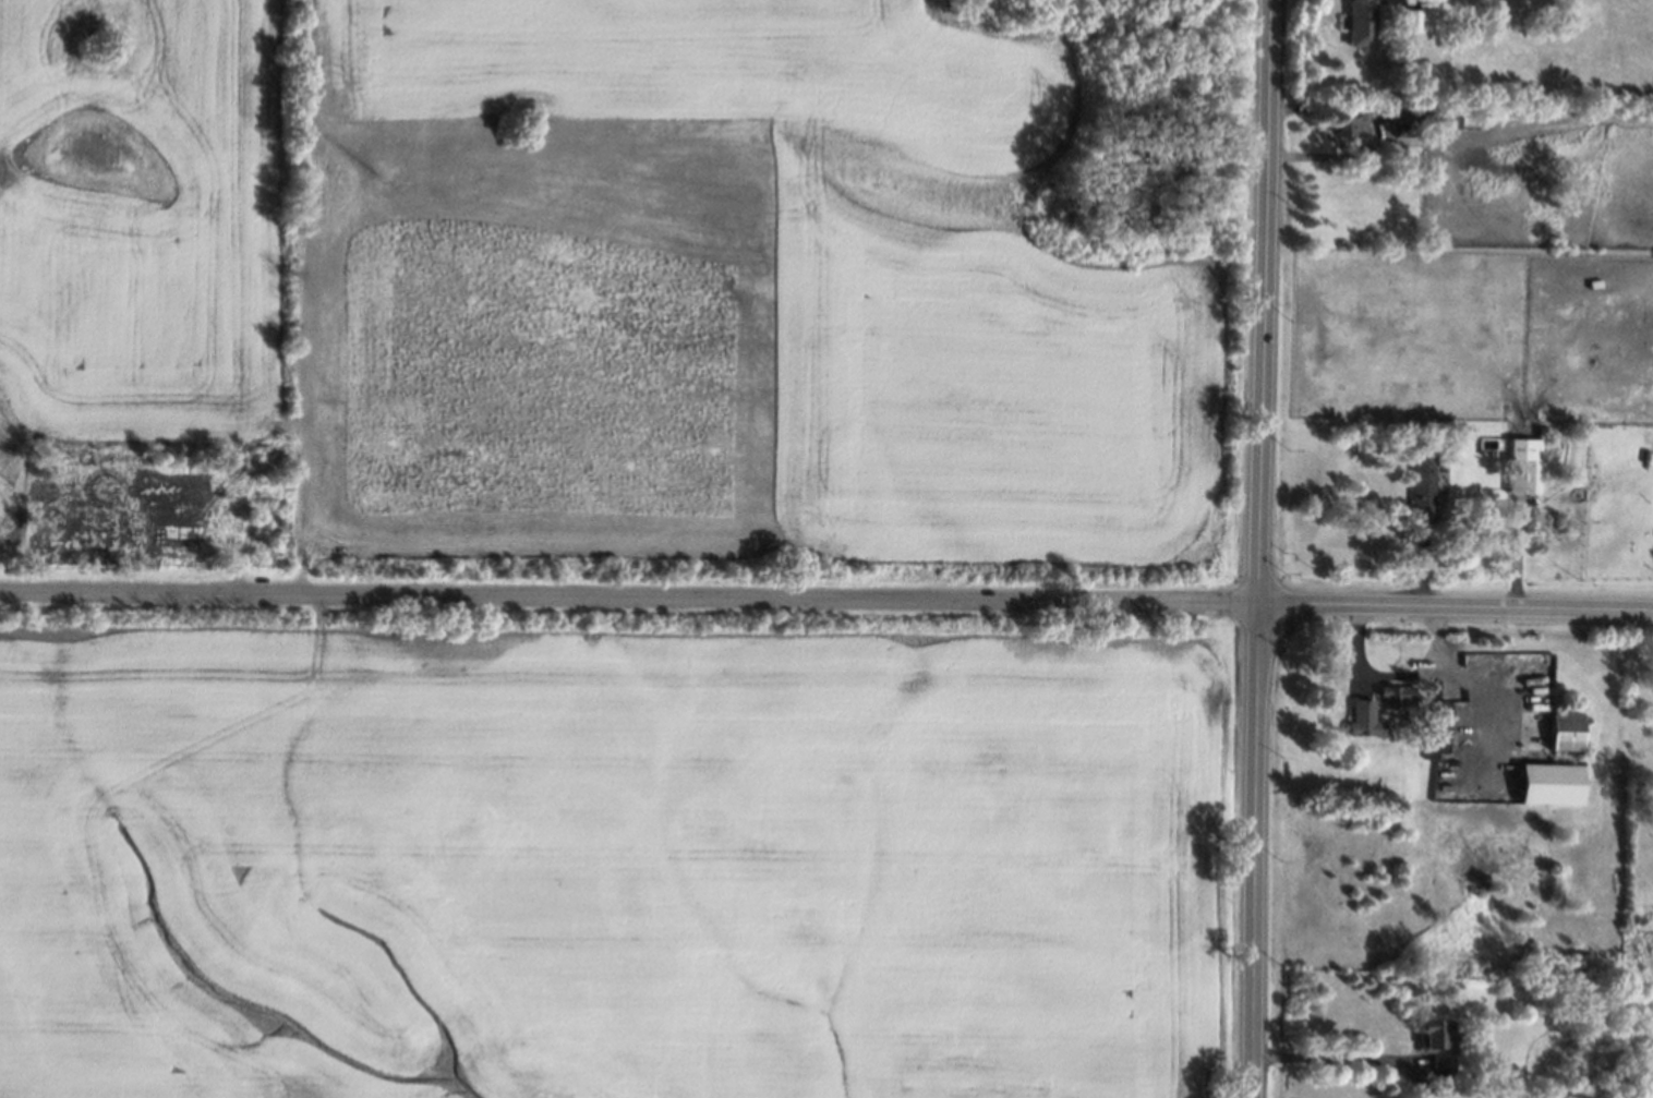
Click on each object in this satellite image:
building: (1412, 20)
building: (1358, 23)
building: (1350, 125)
road: (1375, 129)
crop: (140, 225)
crop: (731, 292)
crop: (1408, 336)
crop: (1589, 341)
building: (1524, 467)
building: (1422, 488)
road: (1259, 548)
road: (826, 599)
road: (1392, 676)
building: (1376, 709)
building: (1438, 726)
building: (1552, 729)
building: (1552, 784)
crop: (603, 867)
building: (1436, 1041)
road: (1341, 1060)

